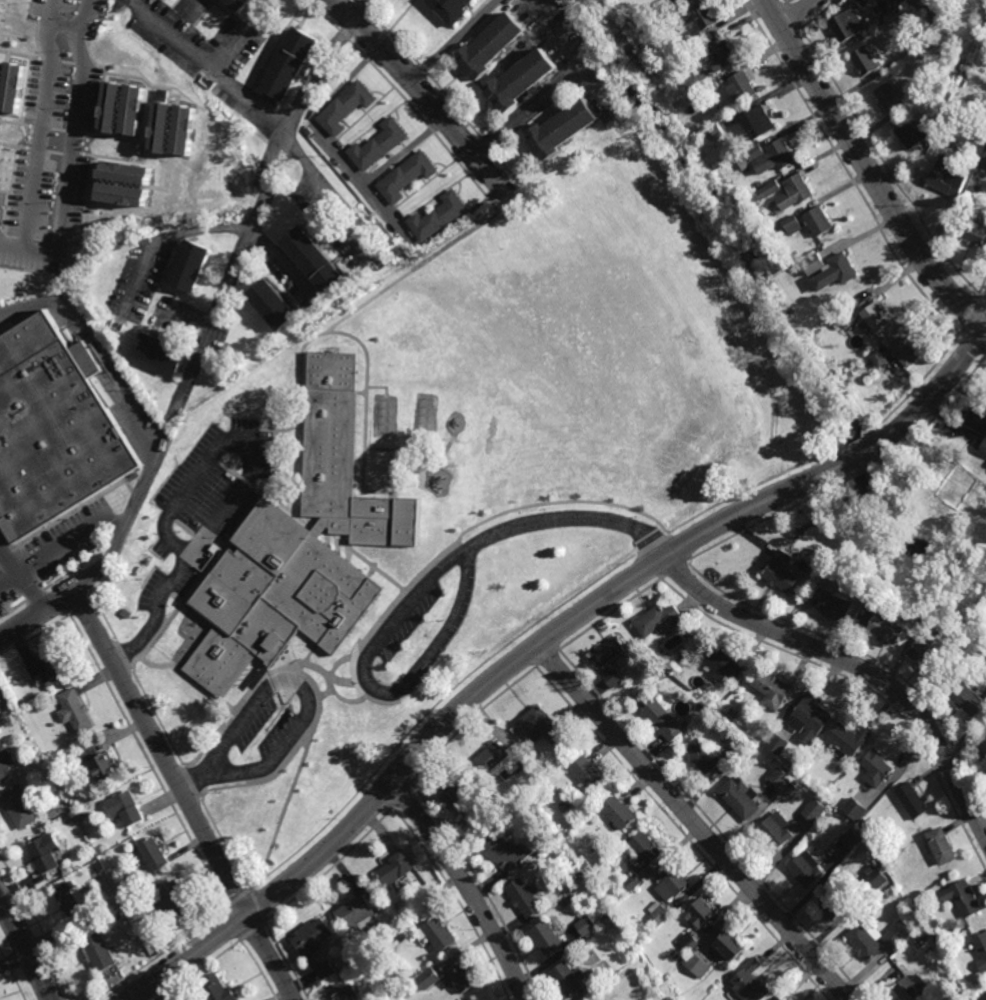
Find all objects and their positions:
road: (786, 1)
road: (789, 1)
building: (900, 1)
building: (239, 4)
road: (54, 8)
building: (449, 9)
road: (361, 10)
road: (771, 11)
road: (798, 11)
road: (820, 14)
building: (935, 14)
road: (793, 16)
building: (700, 23)
building: (849, 26)
road: (558, 34)
road: (786, 37)
building: (934, 40)
road: (453, 41)
building: (489, 45)
road: (230, 48)
building: (723, 56)
building: (867, 62)
building: (289, 64)
building: (954, 72)
building: (519, 80)
building: (715, 85)
building: (12, 86)
building: (742, 87)
building: (916, 92)
road: (421, 94)
building: (892, 97)
road: (540, 102)
road: (254, 105)
building: (114, 107)
building: (344, 107)
building: (136, 110)
road: (46, 115)
building: (164, 122)
building: (760, 122)
building: (560, 129)
building: (186, 130)
building: (716, 131)
building: (942, 132)
building: (912, 135)
building: (376, 145)
road: (73, 156)
building: (773, 158)
building: (983, 158)
building: (742, 162)
road: (883, 165)
road: (846, 171)
road: (867, 171)
building: (127, 172)
building: (404, 176)
building: (719, 176)
road: (315, 178)
building: (949, 182)
building: (768, 190)
building: (796, 192)
building: (124, 194)
building: (436, 217)
building: (739, 218)
building: (818, 223)
building: (792, 225)
building: (976, 231)
road: (170, 238)
building: (313, 262)
building: (190, 268)
building: (830, 270)
road: (233, 272)
road: (982, 284)
road: (982, 299)
building: (271, 306)
road: (362, 307)
road: (969, 313)
building: (876, 317)
building: (847, 318)
road: (972, 345)
building: (905, 351)
road: (985, 353)
building: (159, 355)
road: (985, 356)
building: (878, 359)
road: (914, 387)
road: (938, 391)
road: (366, 411)
road: (147, 417)
road: (161, 419)
building: (978, 419)
building: (54, 433)
road: (856, 444)
building: (983, 449)
road: (863, 456)
road: (185, 484)
road: (69, 541)
building: (294, 541)
building: (186, 545)
road: (192, 551)
building: (818, 565)
building: (782, 572)
road: (8, 579)
road: (21, 582)
building: (145, 585)
road: (412, 599)
building: (837, 607)
road: (37, 619)
building: (658, 620)
building: (891, 629)
road: (522, 633)
road: (523, 654)
building: (609, 654)
building: (927, 657)
building: (673, 662)
building: (724, 665)
road: (856, 665)
building: (49, 667)
building: (985, 670)
road: (297, 683)
building: (773, 690)
building: (971, 700)
building: (702, 703)
building: (22, 704)
building: (74, 711)
building: (732, 712)
building: (812, 717)
building: (664, 721)
building: (540, 726)
building: (984, 735)
building: (847, 741)
building: (774, 743)
building: (983, 747)
road: (161, 754)
building: (733, 754)
building: (702, 757)
building: (492, 758)
building: (5, 763)
building: (103, 767)
building: (876, 769)
building: (588, 774)
building: (799, 776)
building: (777, 777)
building: (788, 788)
building: (459, 790)
building: (739, 798)
building: (912, 801)
building: (563, 806)
building: (18, 807)
building: (125, 808)
building: (813, 809)
building: (853, 809)
building: (621, 814)
building: (71, 816)
building: (83, 817)
road: (692, 822)
building: (862, 822)
building: (775, 831)
building: (848, 837)
building: (942, 847)
building: (646, 852)
building: (46, 853)
building: (153, 854)
building: (505, 854)
building: (897, 863)
building: (584, 865)
building: (395, 869)
building: (807, 870)
building: (576, 876)
building: (875, 878)
building: (631, 883)
building: (670, 884)
road: (465, 886)
building: (887, 894)
road: (237, 898)
building: (527, 898)
building: (962, 899)
building: (74, 900)
building: (173, 900)
building: (836, 902)
building: (128, 905)
road: (257, 905)
building: (700, 913)
building: (657, 914)
building: (358, 915)
building: (118, 916)
building: (607, 918)
building: (585, 926)
road: (251, 930)
building: (437, 935)
building: (312, 937)
building: (937, 937)
building: (548, 939)
building: (685, 943)
building: (866, 943)
building: (727, 947)
building: (981, 948)
road: (27, 949)
building: (930, 950)
building: (98, 951)
road: (188, 957)
road: (270, 957)
building: (696, 964)
building: (428, 978)
building: (568, 981)
building: (460, 982)
building: (751, 983)
building: (215, 990)
building: (910, 990)
building: (347, 991)
building: (406, 994)
building: (982, 996)
building: (782, 998)
building: (474, 999)

